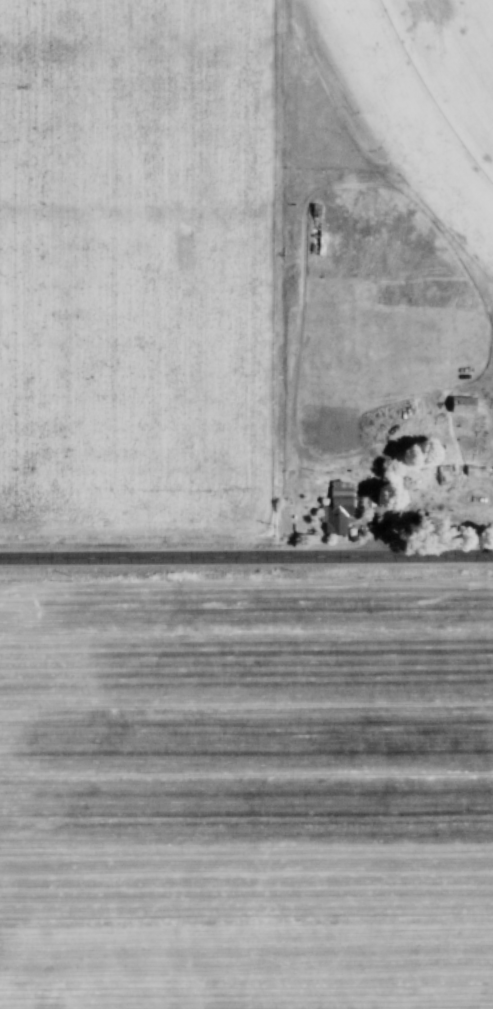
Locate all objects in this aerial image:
crop: (405, 94)
crop: (143, 267)
building: (476, 404)
building: (485, 470)
building: (447, 474)
building: (458, 474)
building: (405, 482)
building: (351, 508)
road: (387, 526)
road: (246, 556)
crop: (246, 794)

